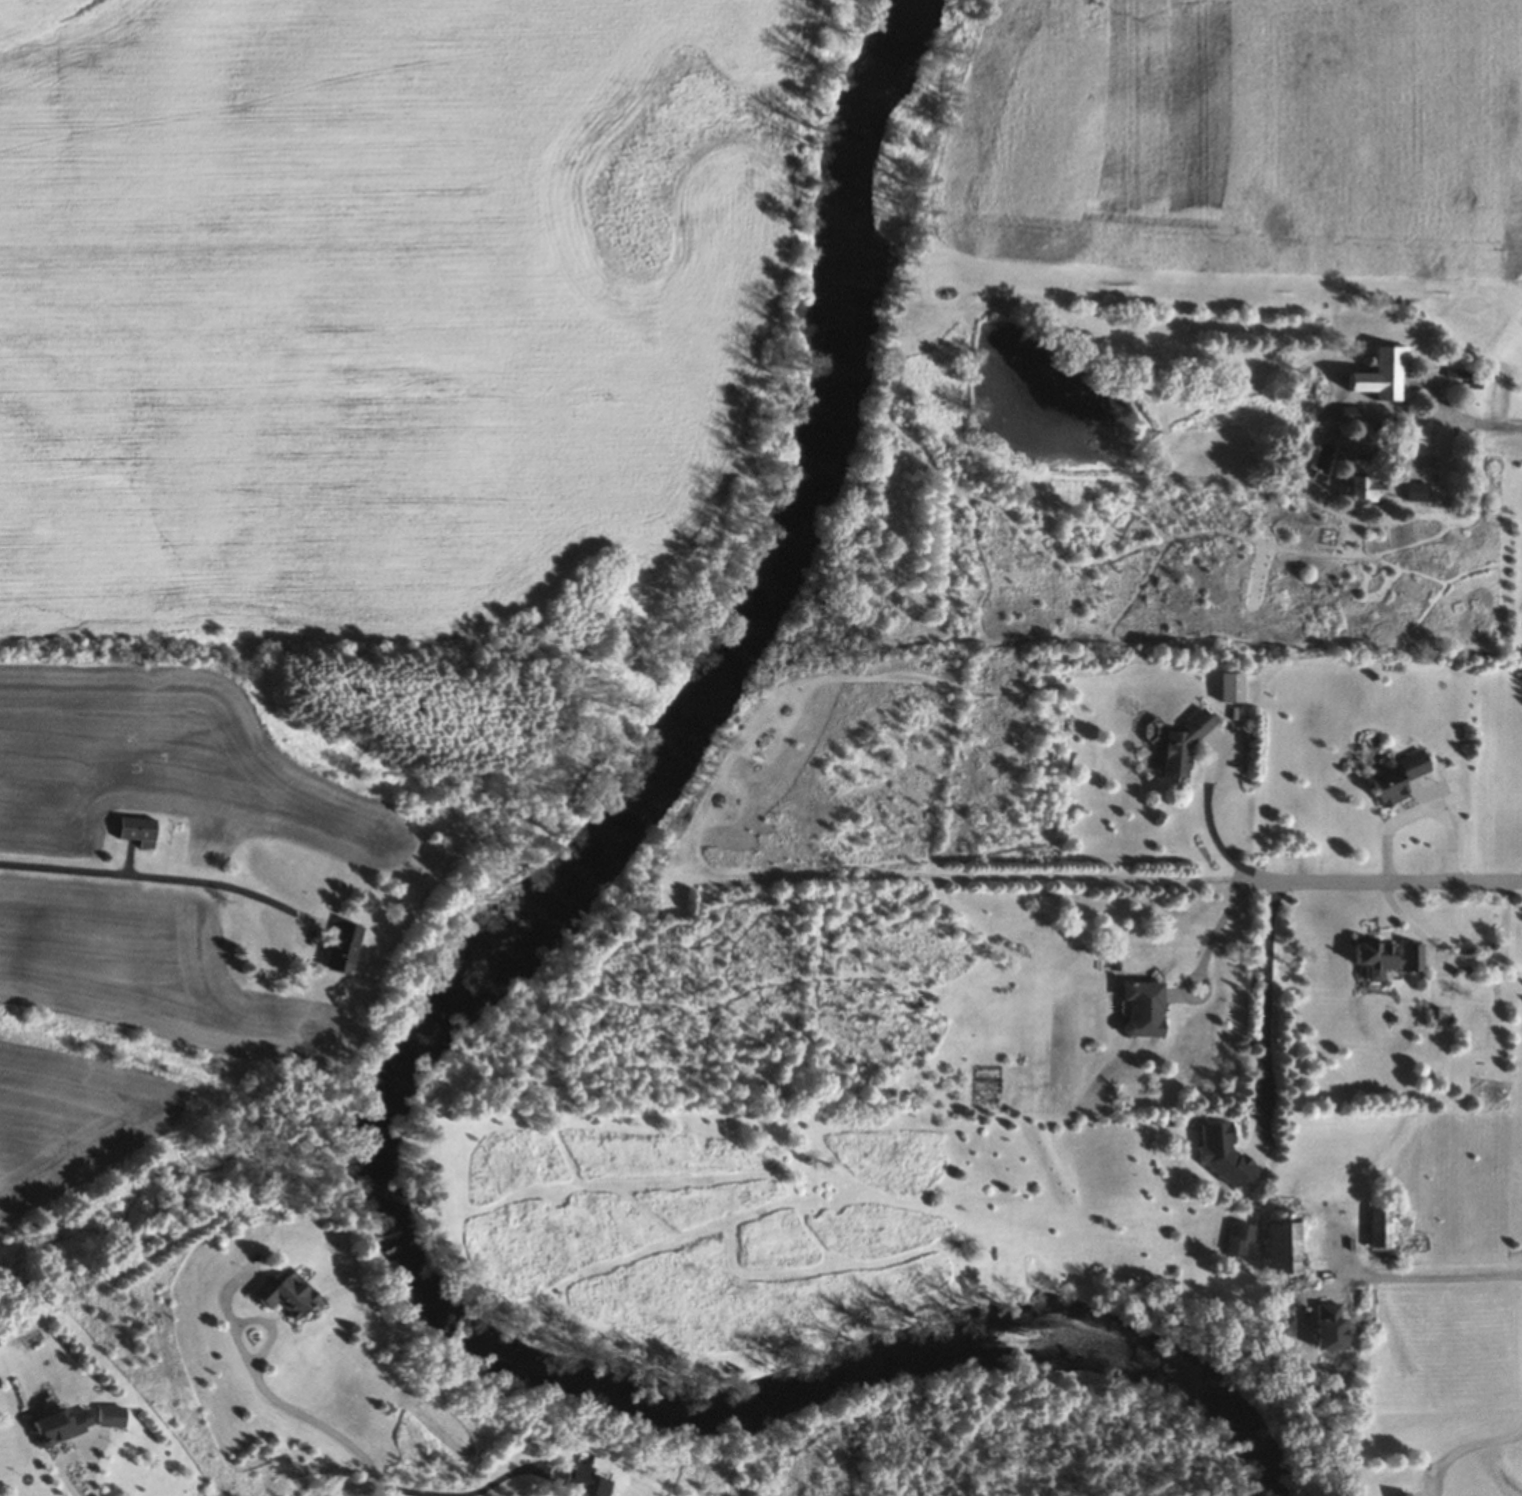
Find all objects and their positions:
building: (1382, 373)
building: (1348, 413)
road: (1483, 418)
building: (1365, 487)
building: (1416, 490)
building: (1231, 686)
building: (1182, 744)
building: (1397, 775)
road: (1206, 807)
building: (137, 829)
road: (146, 876)
road: (1385, 878)
building: (342, 948)
building: (1388, 958)
building: (1143, 1008)
road: (1264, 1017)
building: (1436, 1018)
river: (406, 1049)
building: (1222, 1154)
building: (1381, 1237)
building: (1237, 1240)
building: (1285, 1249)
road: (1424, 1276)
building: (285, 1293)
building: (1305, 1335)
road: (263, 1389)
building: (112, 1416)
building: (63, 1426)
road: (1466, 1446)
road: (73, 1453)
building: (587, 1481)
road: (490, 1483)
road: (375, 1488)
building: (1407, 1495)

